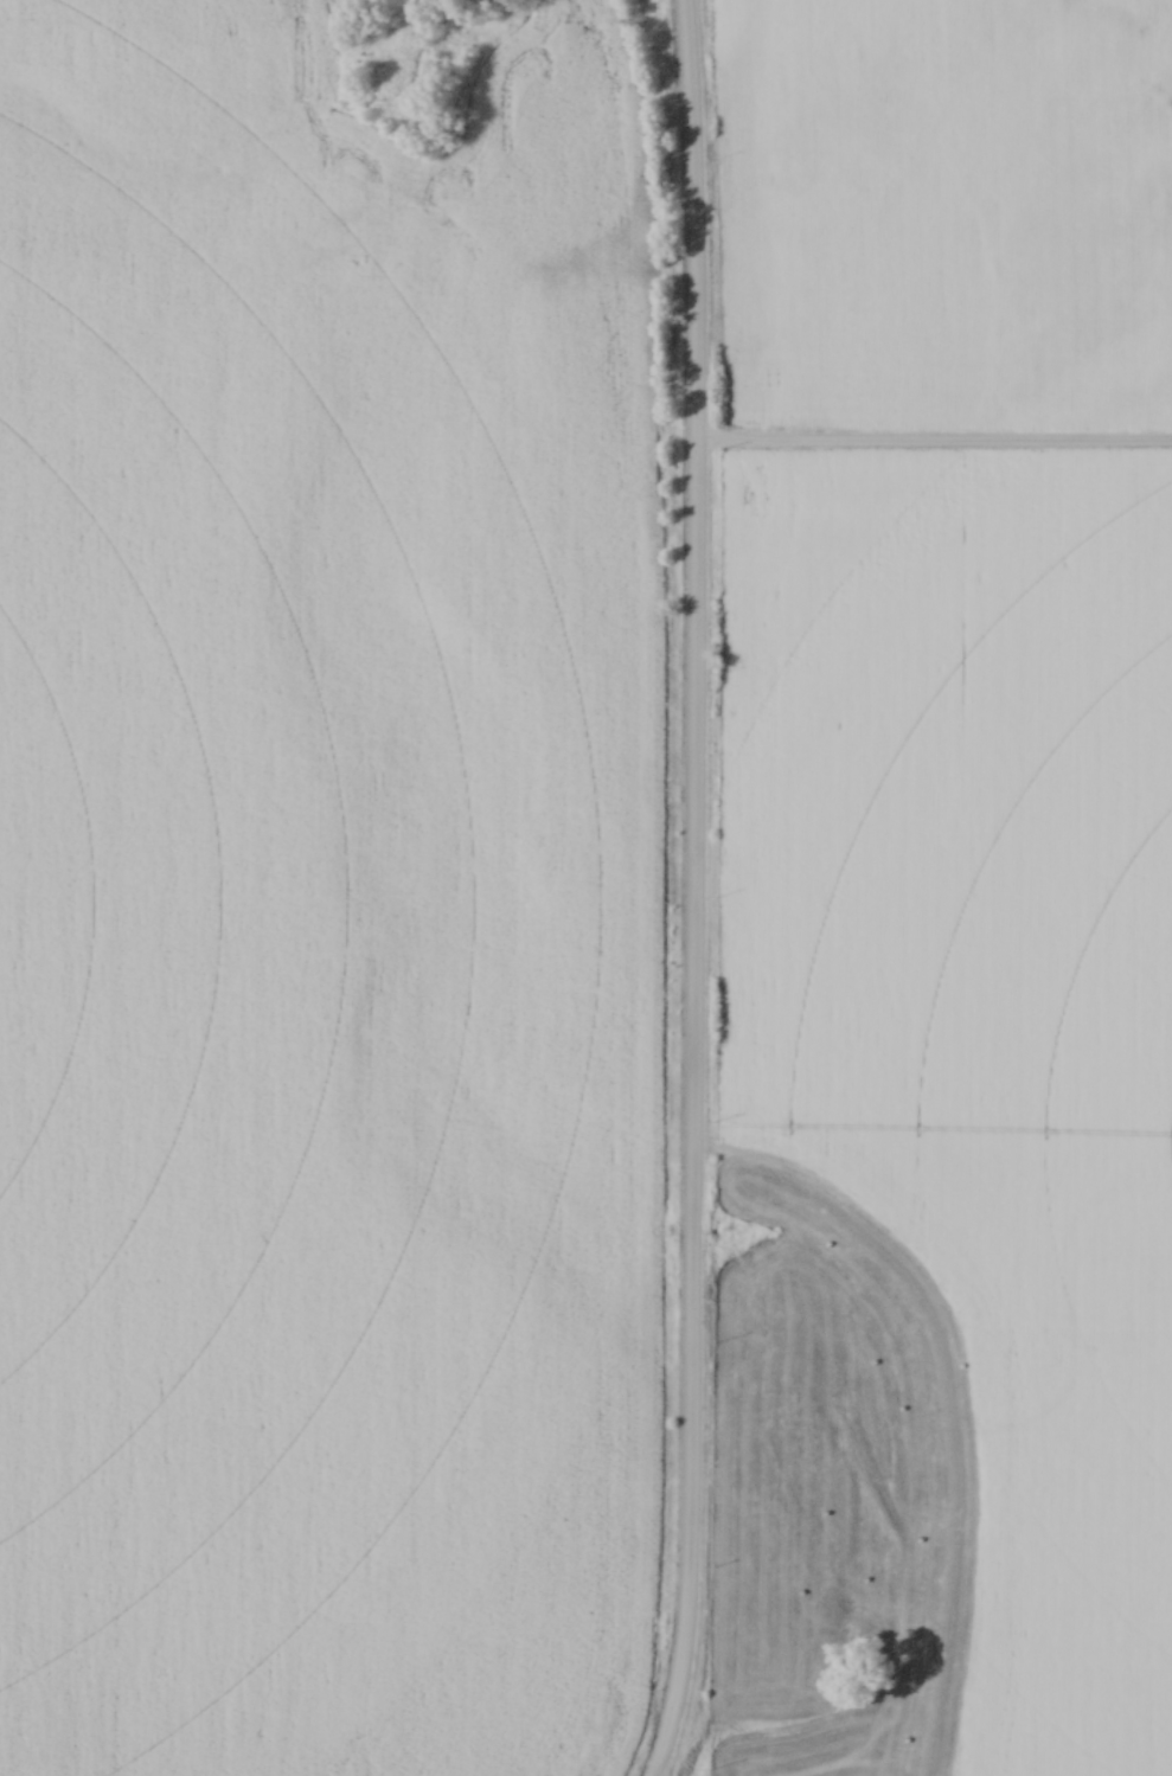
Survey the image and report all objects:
road: (933, 451)
road: (694, 889)

